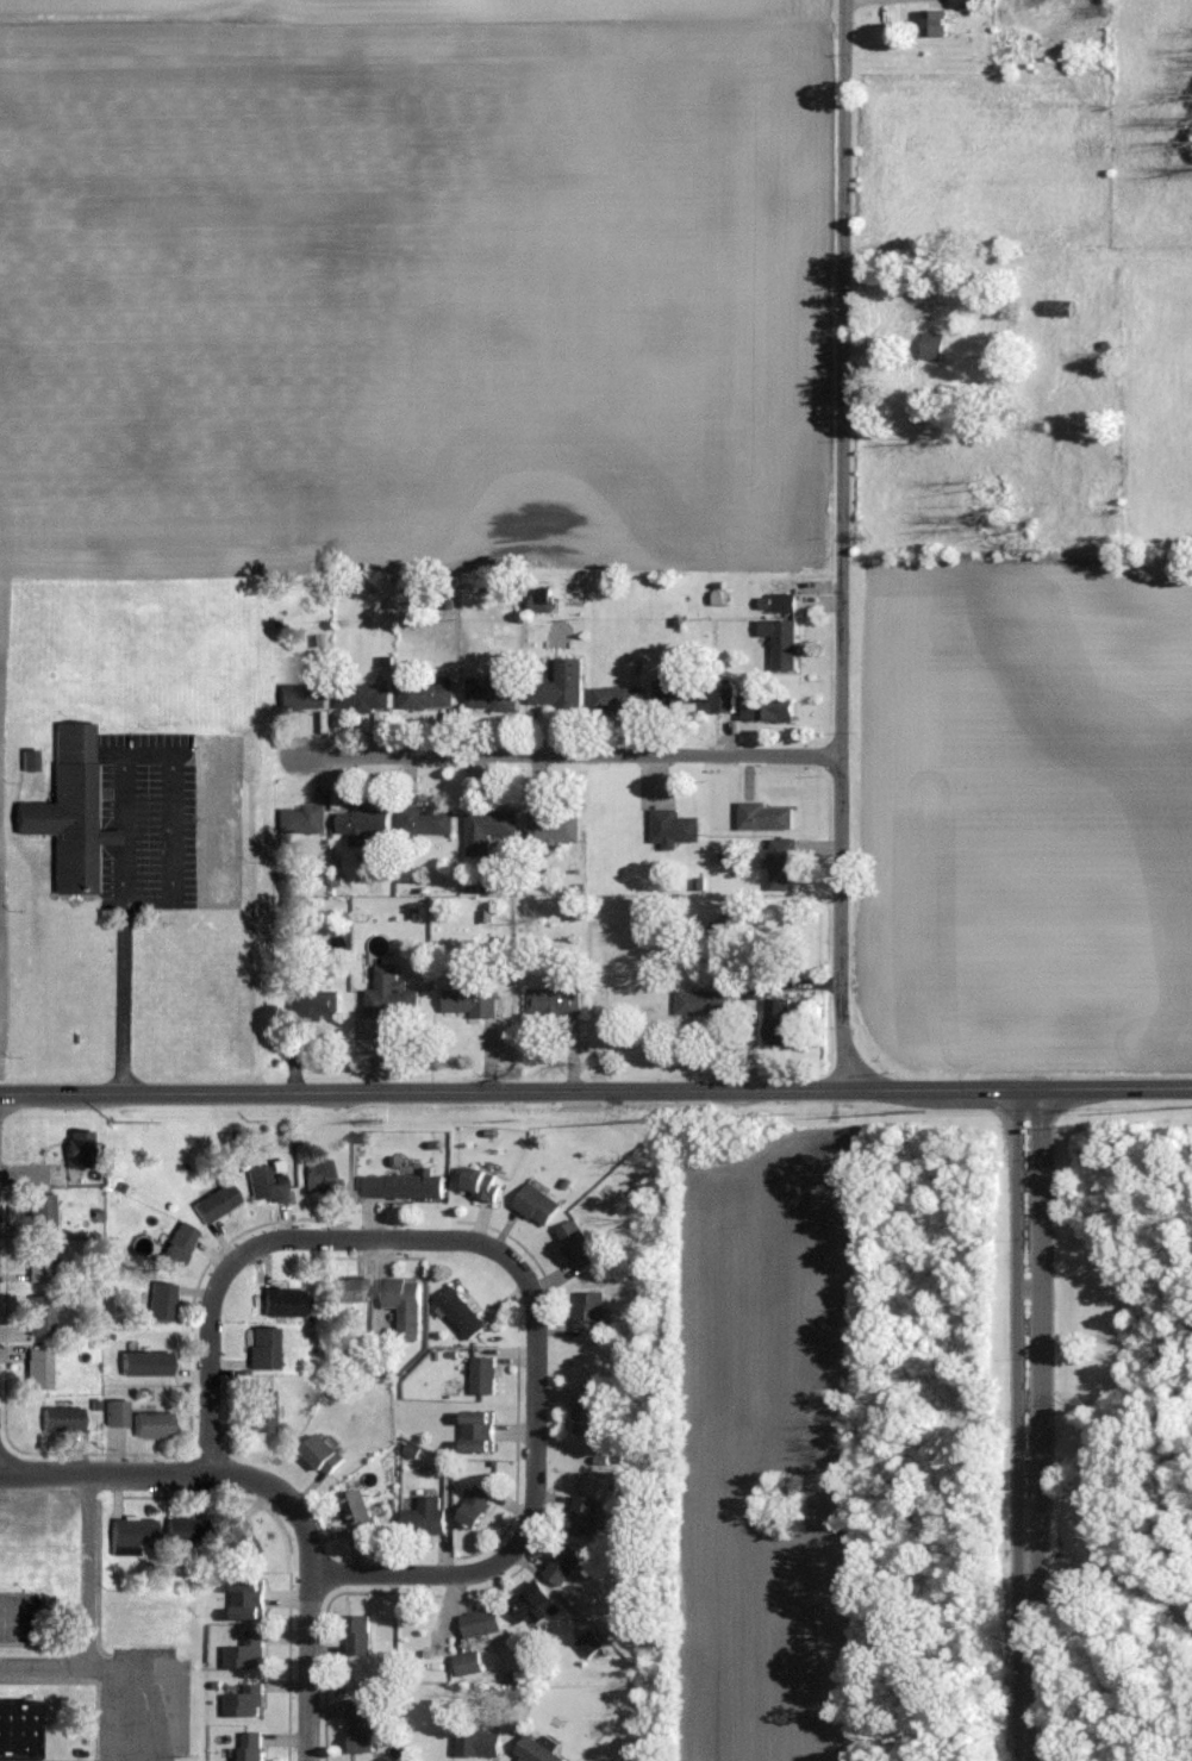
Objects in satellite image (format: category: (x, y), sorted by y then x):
building: (972, 5)
building: (935, 24)
building: (1010, 45)
building: (920, 304)
building: (1062, 308)
building: (935, 346)
road: (842, 544)
building: (784, 595)
building: (543, 602)
building: (782, 642)
building: (560, 686)
building: (680, 692)
building: (491, 693)
building: (430, 694)
building: (302, 695)
building: (363, 695)
building: (619, 698)
building: (728, 698)
building: (770, 708)
road: (569, 753)
building: (27, 762)
road: (124, 808)
building: (69, 811)
building: (764, 817)
building: (302, 819)
building: (428, 819)
building: (363, 824)
building: (555, 825)
building: (489, 828)
building: (676, 828)
building: (780, 863)
building: (754, 987)
building: (391, 994)
building: (470, 1001)
building: (704, 1001)
building: (555, 1003)
building: (313, 1004)
building: (780, 1020)
road: (595, 1089)
building: (74, 1154)
building: (320, 1179)
building: (264, 1182)
building: (483, 1184)
building: (402, 1185)
building: (216, 1203)
building: (538, 1205)
building: (40, 1213)
road: (460, 1237)
building: (580, 1245)
building: (176, 1247)
building: (38, 1262)
building: (348, 1289)
building: (161, 1301)
building: (282, 1305)
building: (406, 1305)
road: (212, 1306)
building: (589, 1310)
building: (463, 1312)
building: (40, 1314)
road: (1040, 1320)
road: (1017, 1322)
building: (263, 1349)
building: (38, 1368)
building: (485, 1375)
building: (261, 1411)
building: (116, 1412)
building: (587, 1415)
building: (61, 1418)
road: (536, 1420)
building: (151, 1424)
building: (480, 1431)
building: (323, 1455)
road: (105, 1473)
building: (478, 1507)
building: (360, 1510)
building: (585, 1515)
building: (426, 1517)
building: (185, 1529)
building: (132, 1532)
building: (243, 1543)
building: (567, 1563)
road: (426, 1569)
road: (307, 1585)
building: (249, 1599)
building: (532, 1604)
road: (86, 1609)
building: (482, 1623)
building: (358, 1635)
building: (591, 1644)
building: (248, 1651)
road: (1026, 1656)
building: (469, 1663)
building: (245, 1701)
building: (367, 1726)
building: (17, 1730)
building: (481, 1744)
building: (254, 1746)
building: (541, 1749)

